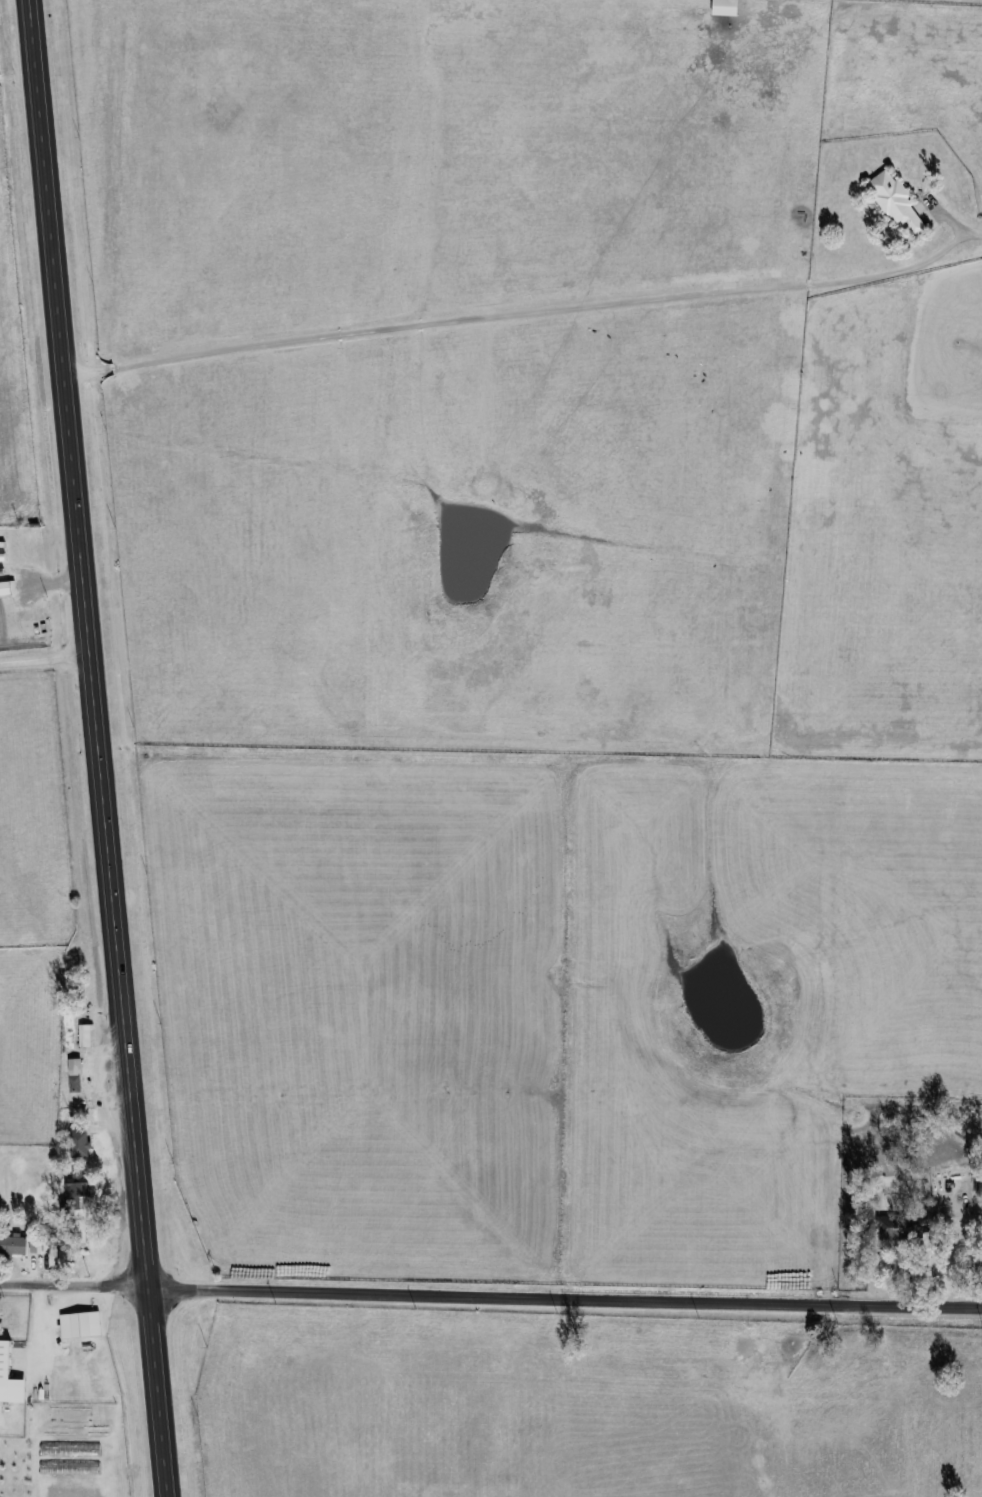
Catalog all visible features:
building: (725, 7)
building: (898, 204)
road: (527, 308)
building: (6, 587)
road: (44, 657)
road: (96, 748)
building: (75, 1075)
building: (79, 1141)
building: (76, 1196)
building: (909, 1226)
building: (22, 1244)
building: (68, 1259)
road: (73, 1284)
road: (564, 1299)
building: (80, 1325)
road: (38, 1329)
building: (8, 1379)

